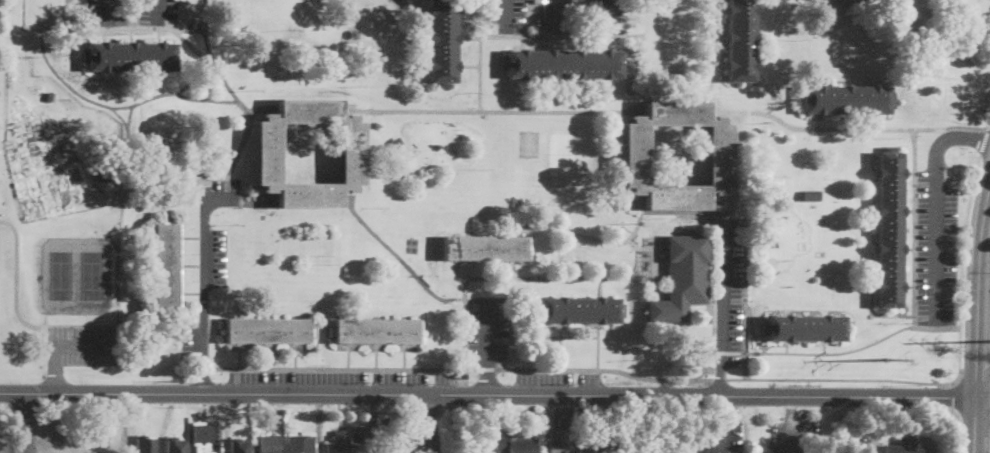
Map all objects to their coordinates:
parking lot: (107, 12)
road: (108, 12)
parking lot: (158, 12)
road: (157, 13)
road: (556, 15)
road: (505, 16)
road: (607, 16)
building: (443, 40)
building: (741, 40)
building: (131, 56)
building: (563, 64)
building: (50, 95)
building: (847, 98)
road: (774, 115)
road: (969, 126)
road: (984, 139)
building: (396, 142)
building: (115, 146)
building: (267, 153)
building: (635, 155)
building: (107, 173)
building: (809, 197)
road: (937, 207)
parking lot: (214, 229)
building: (889, 229)
road: (594, 237)
road: (636, 246)
building: (485, 248)
parking lot: (938, 248)
road: (914, 250)
road: (962, 258)
road: (403, 261)
road: (457, 262)
road: (513, 263)
road: (648, 263)
building: (166, 266)
road: (457, 273)
road: (513, 273)
park: (76, 274)
road: (553, 277)
building: (682, 278)
road: (204, 279)
road: (601, 289)
road: (17, 290)
road: (978, 290)
parking lot: (728, 292)
road: (721, 304)
road: (513, 306)
road: (745, 308)
building: (579, 310)
road: (465, 322)
road: (752, 328)
building: (806, 328)
parking lot: (488, 329)
building: (268, 330)
building: (376, 331)
road: (70, 334)
road: (555, 336)
road: (44, 342)
road: (63, 344)
parking lot: (84, 344)
road: (598, 345)
road: (489, 346)
road: (561, 346)
road: (832, 352)
power tower: (894, 358)
road: (487, 367)
road: (344, 368)
road: (604, 368)
road: (956, 375)
parking lot: (339, 377)
building: (459, 377)
parking lot: (558, 378)
road: (719, 378)
road: (838, 378)
road: (488, 394)
road: (955, 396)
road: (983, 398)
road: (727, 407)
road: (22, 422)
road: (121, 423)
road: (431, 423)
road: (975, 425)
road: (957, 429)
building: (202, 437)
road: (987, 437)
parking lot: (719, 438)
road: (726, 441)
building: (339, 442)
building: (144, 444)
building: (268, 444)
building: (301, 444)
building: (508, 444)
building: (174, 445)
building: (237, 445)
building: (586, 446)
building: (904, 447)
road: (715, 451)
road: (872, 452)

